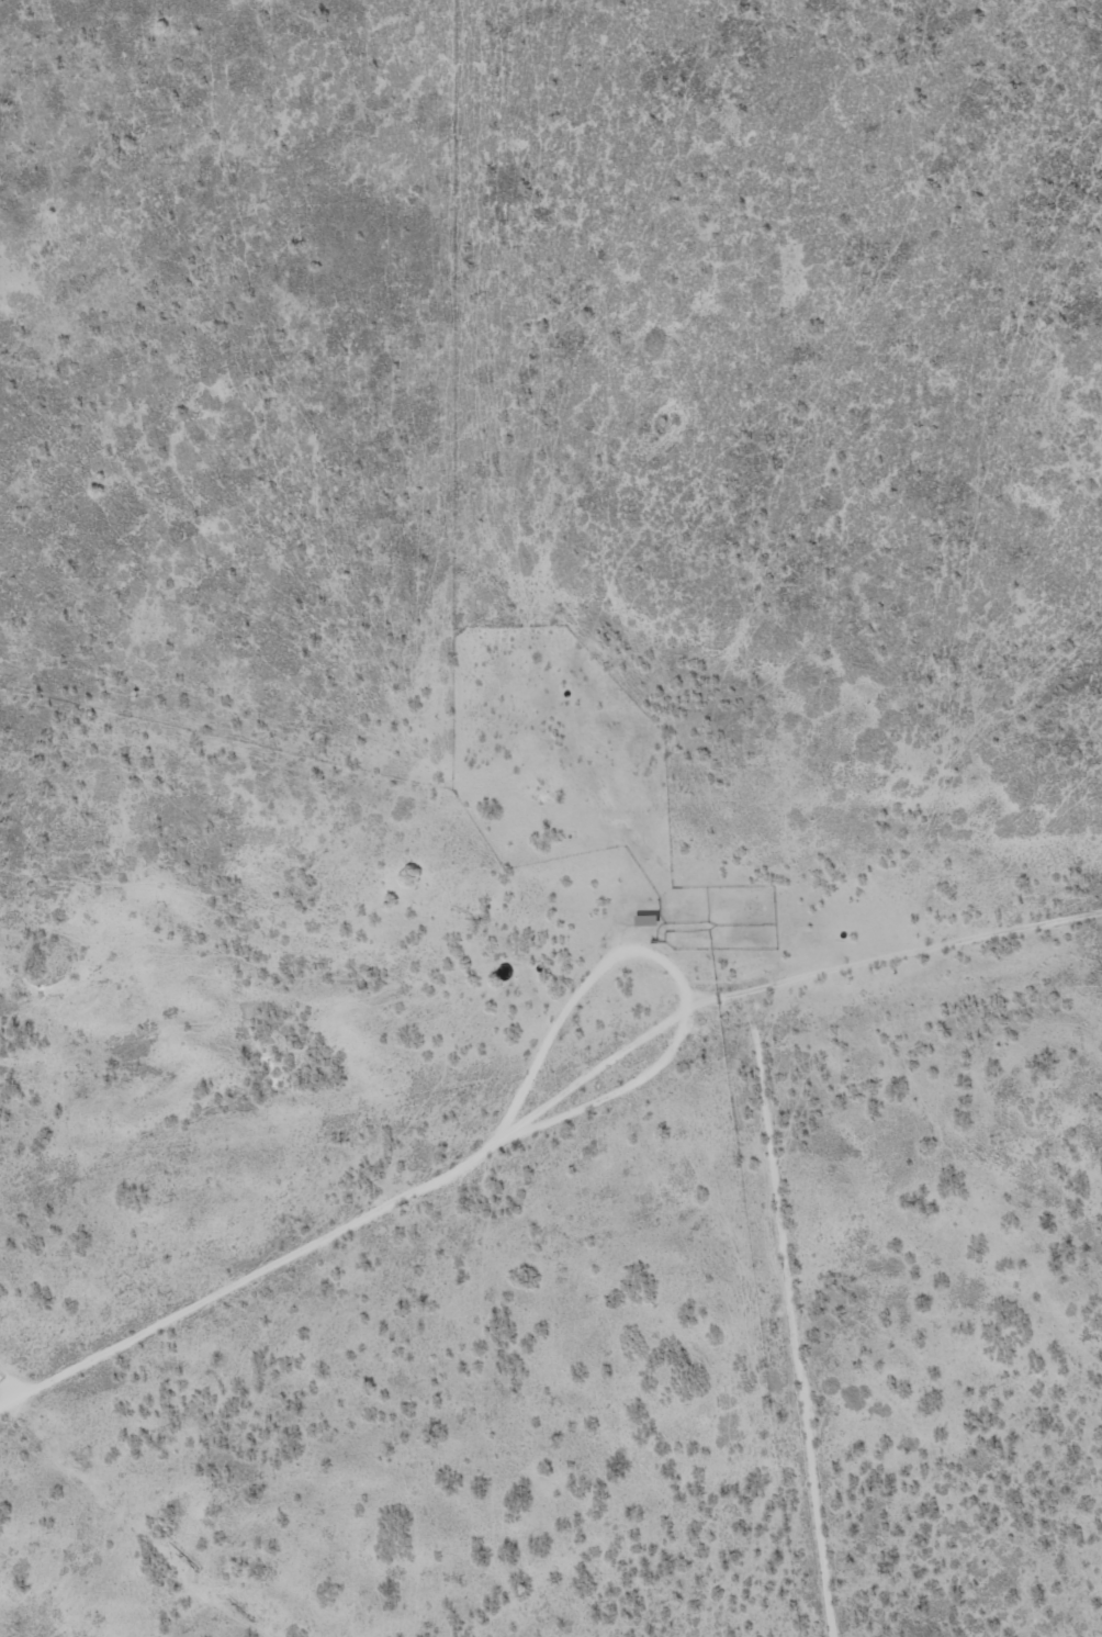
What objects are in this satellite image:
road: (246, 1275)

